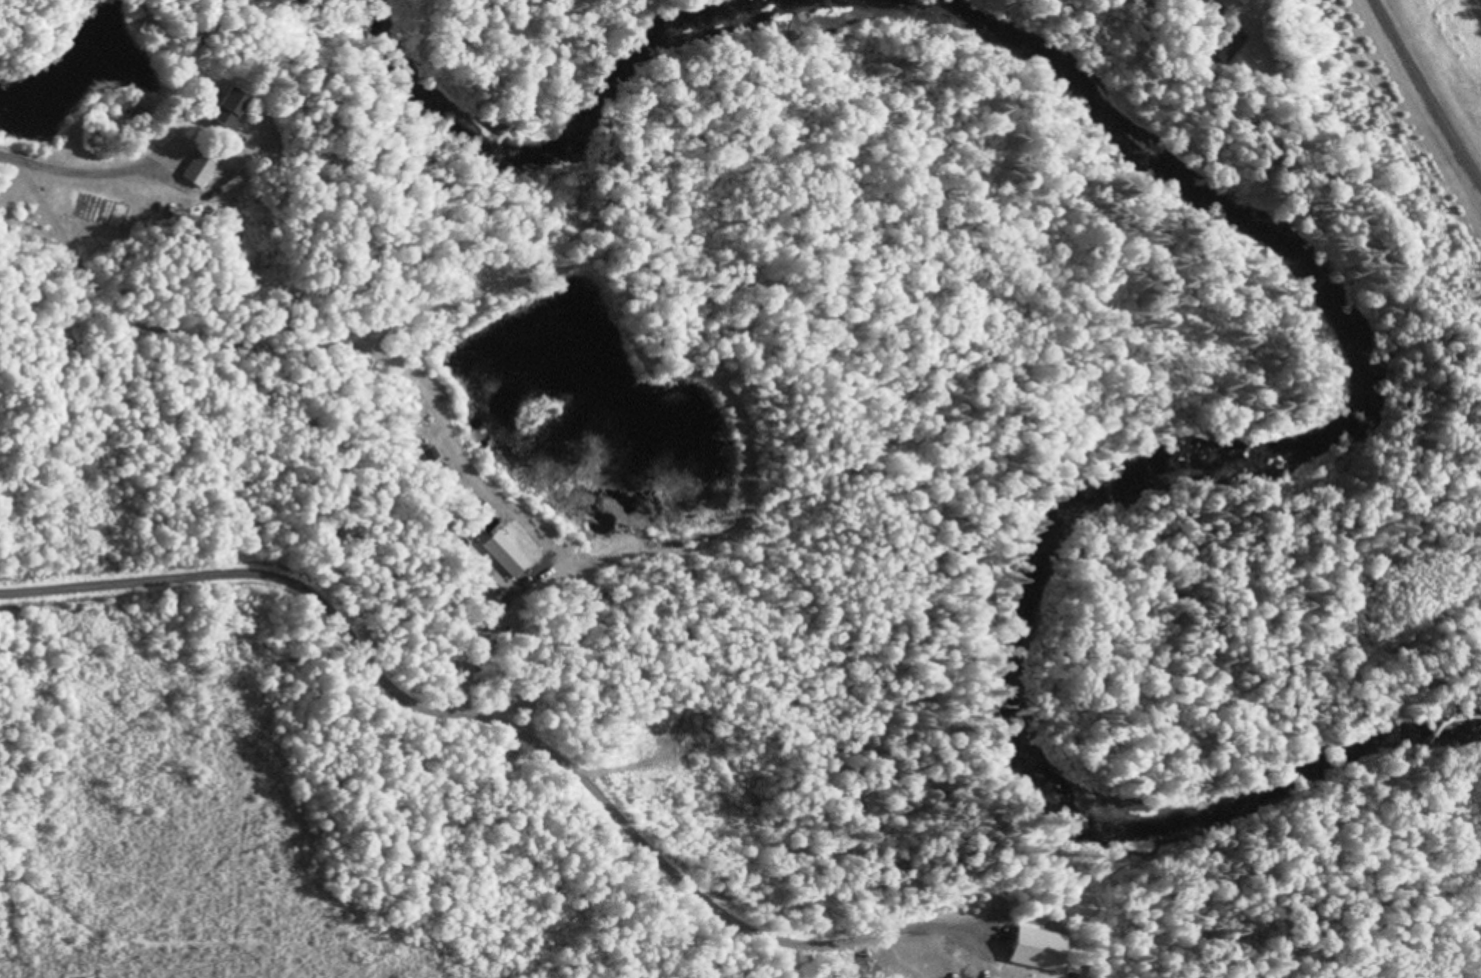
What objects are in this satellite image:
building: (1225, 4)
building: (233, 110)
road: (48, 171)
building: (199, 171)
building: (1040, 951)

